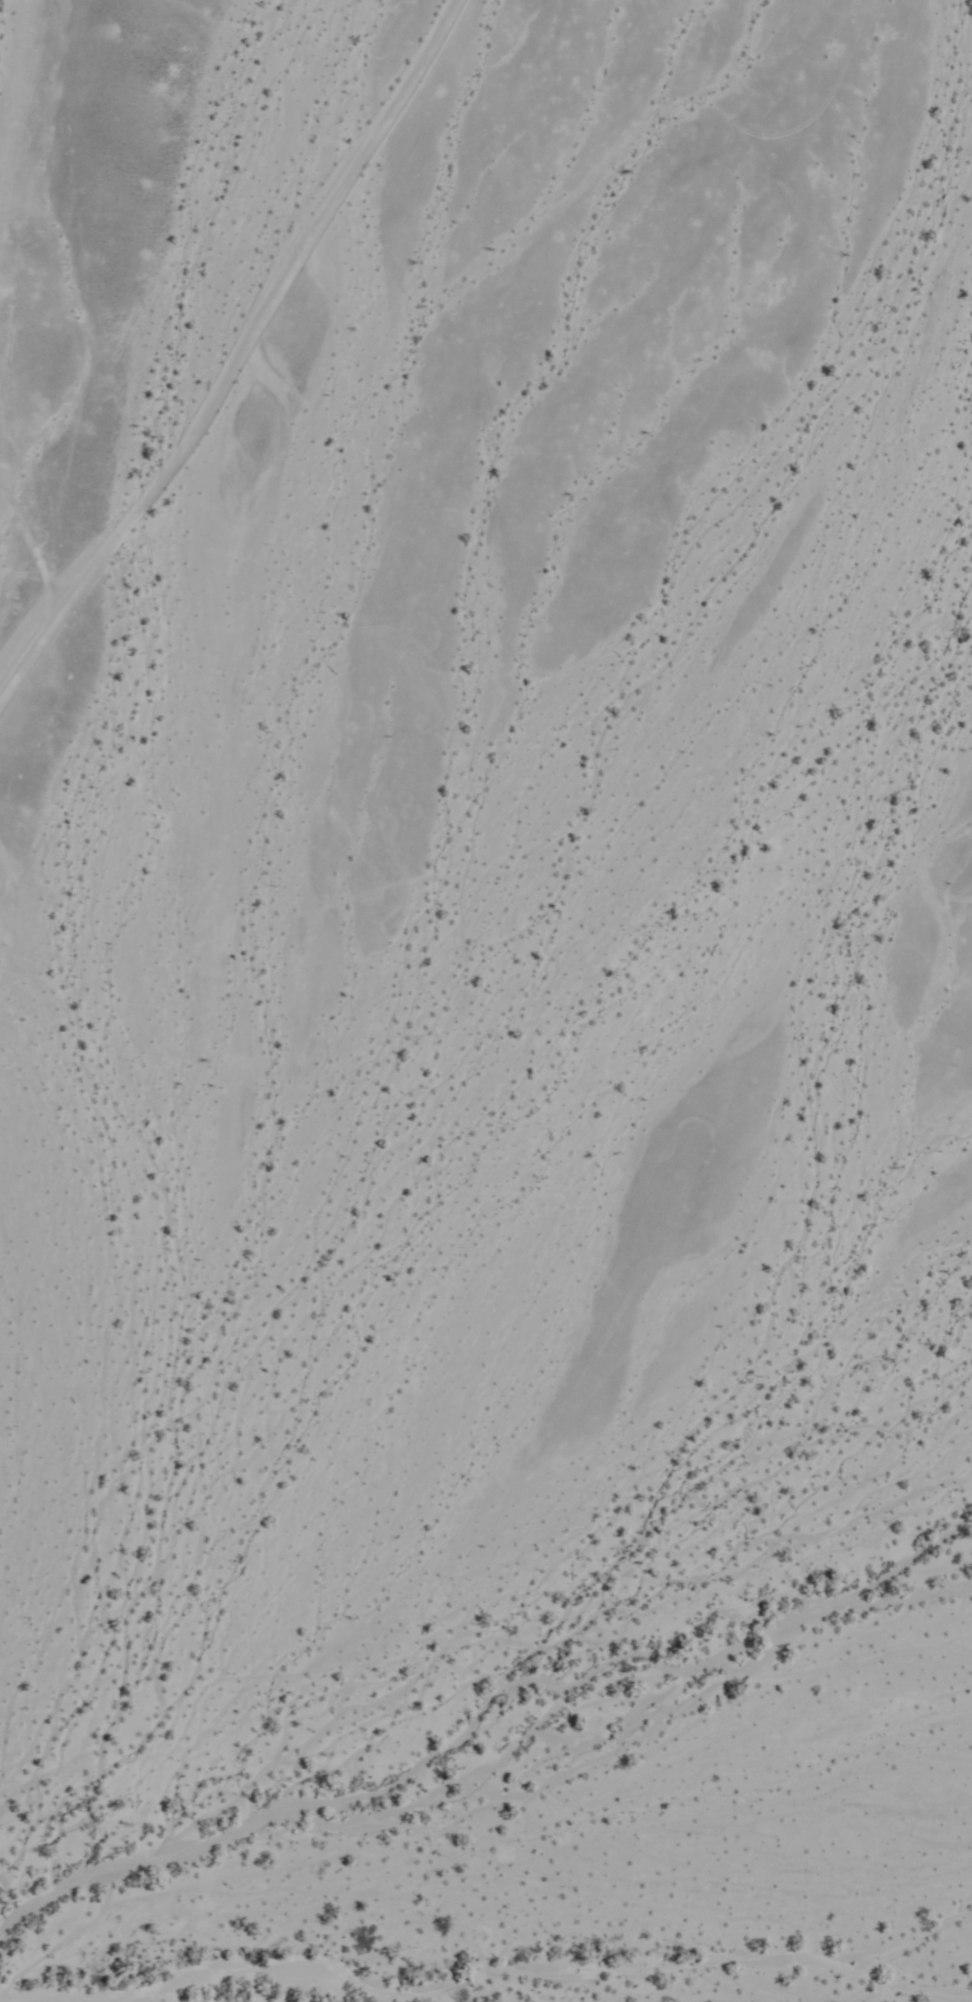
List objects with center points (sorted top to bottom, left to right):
road: (213, 320)

